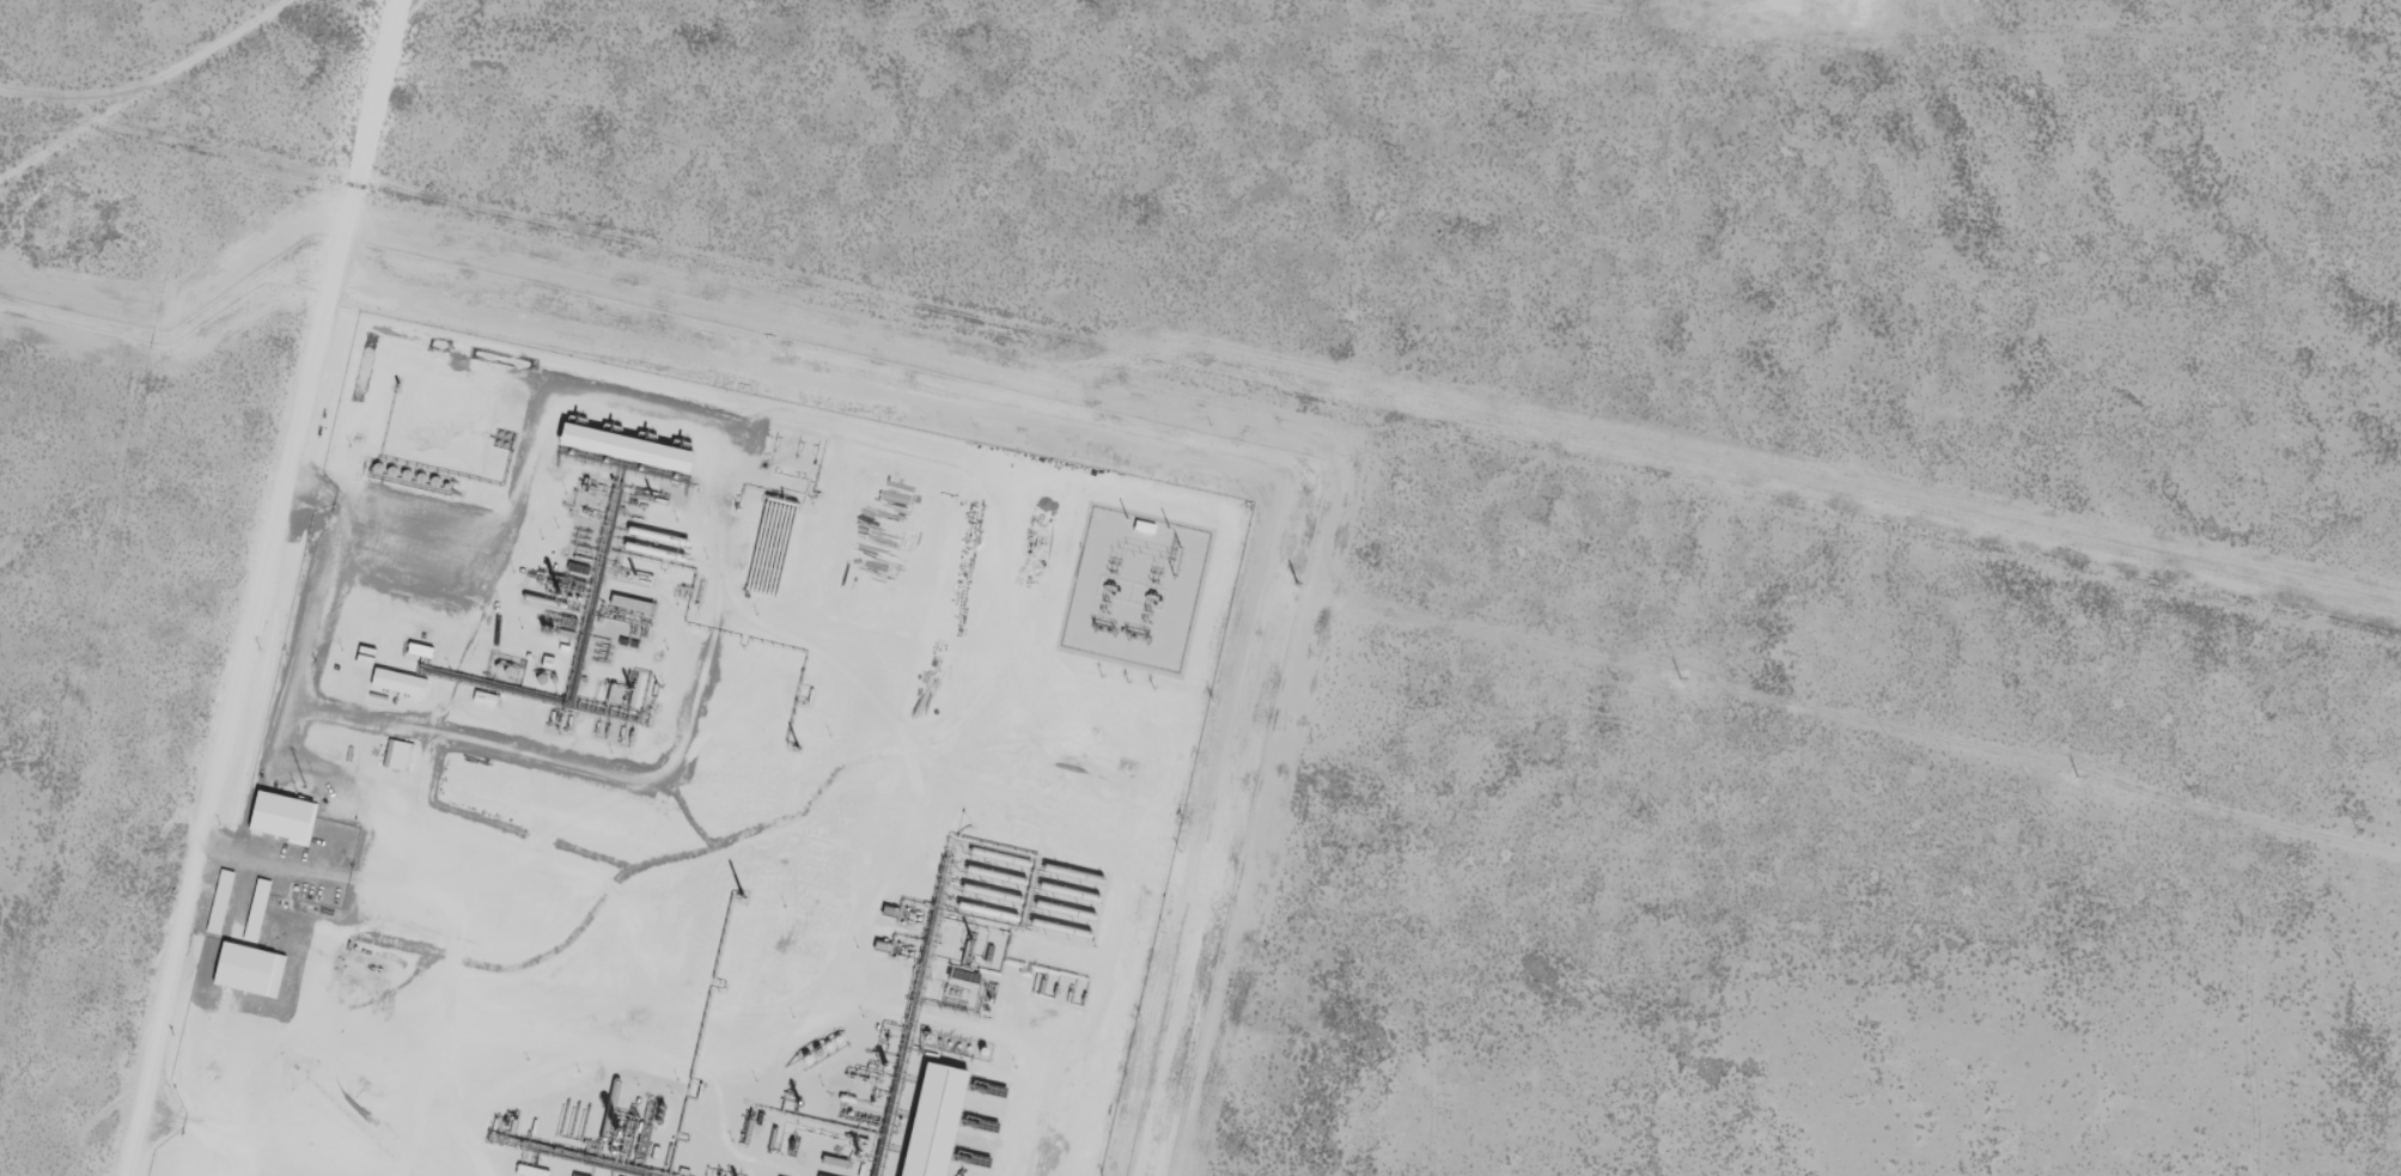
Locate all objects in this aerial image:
road: (116, 63)
road: (11, 93)
building: (630, 447)
road: (267, 587)
power substation: (1138, 590)
building: (402, 682)
building: (401, 755)
building: (286, 817)
building: (223, 902)
building: (260, 910)
building: (252, 970)
building: (939, 1121)

